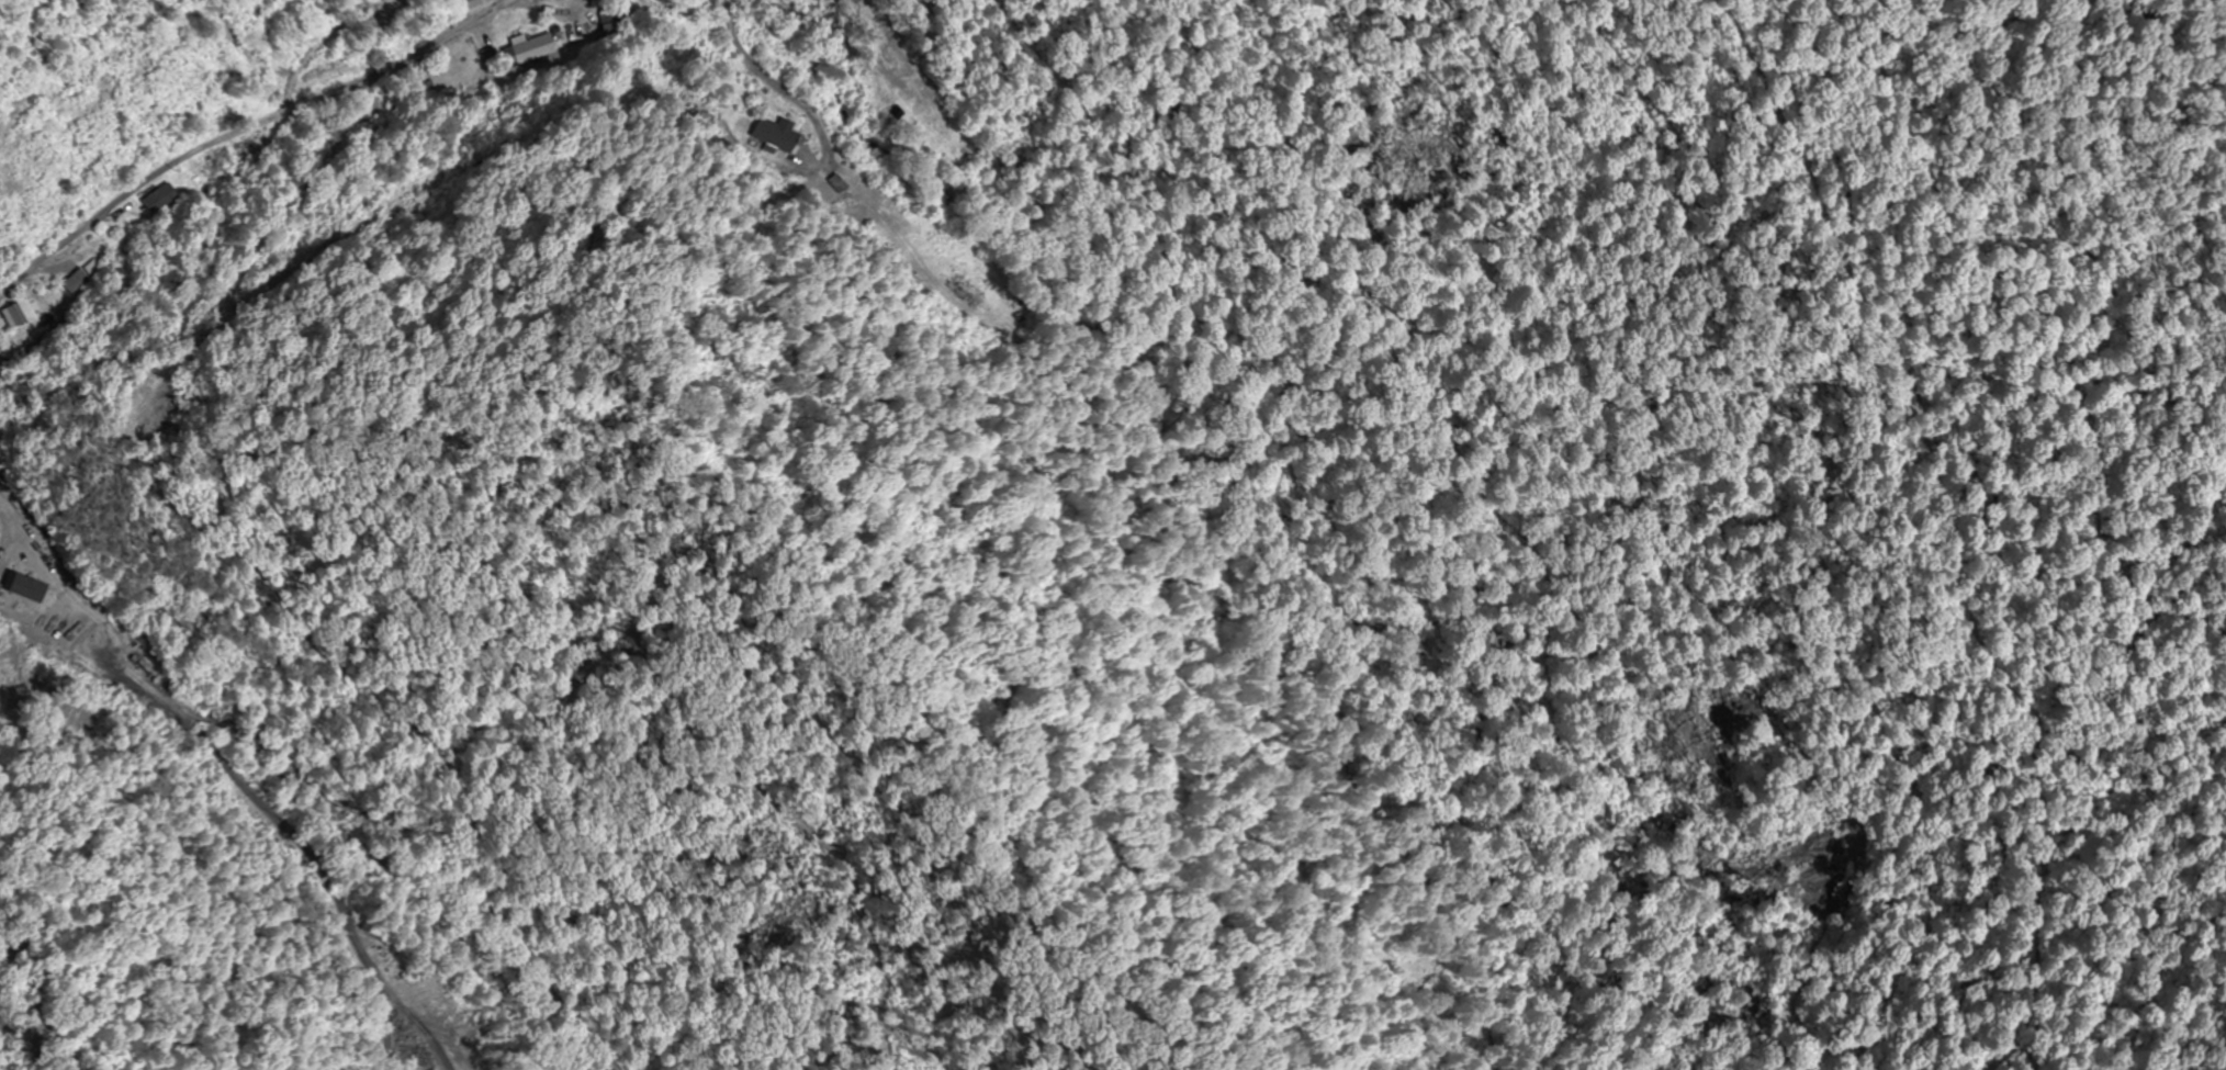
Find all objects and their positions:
building: (617, 27)
building: (536, 49)
building: (927, 94)
building: (773, 136)
building: (247, 150)
road: (248, 157)
building: (211, 168)
building: (845, 187)
building: (161, 200)
building: (78, 281)
building: (20, 314)
building: (14, 554)
road: (311, 756)

